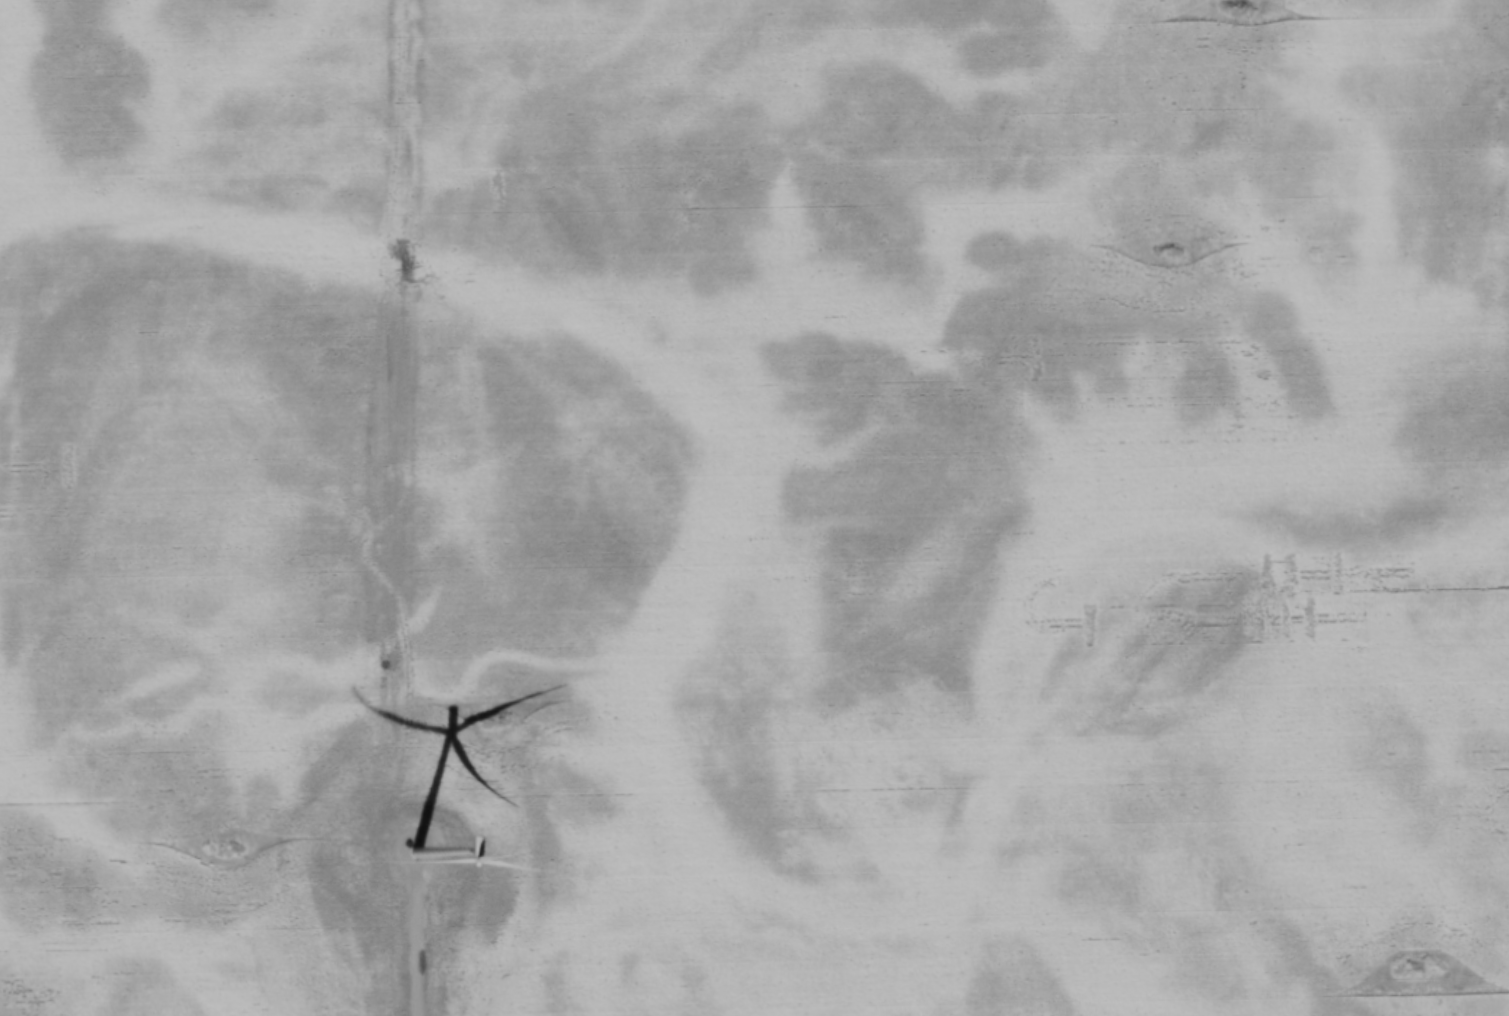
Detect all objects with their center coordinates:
wind turbine: (417, 848)

